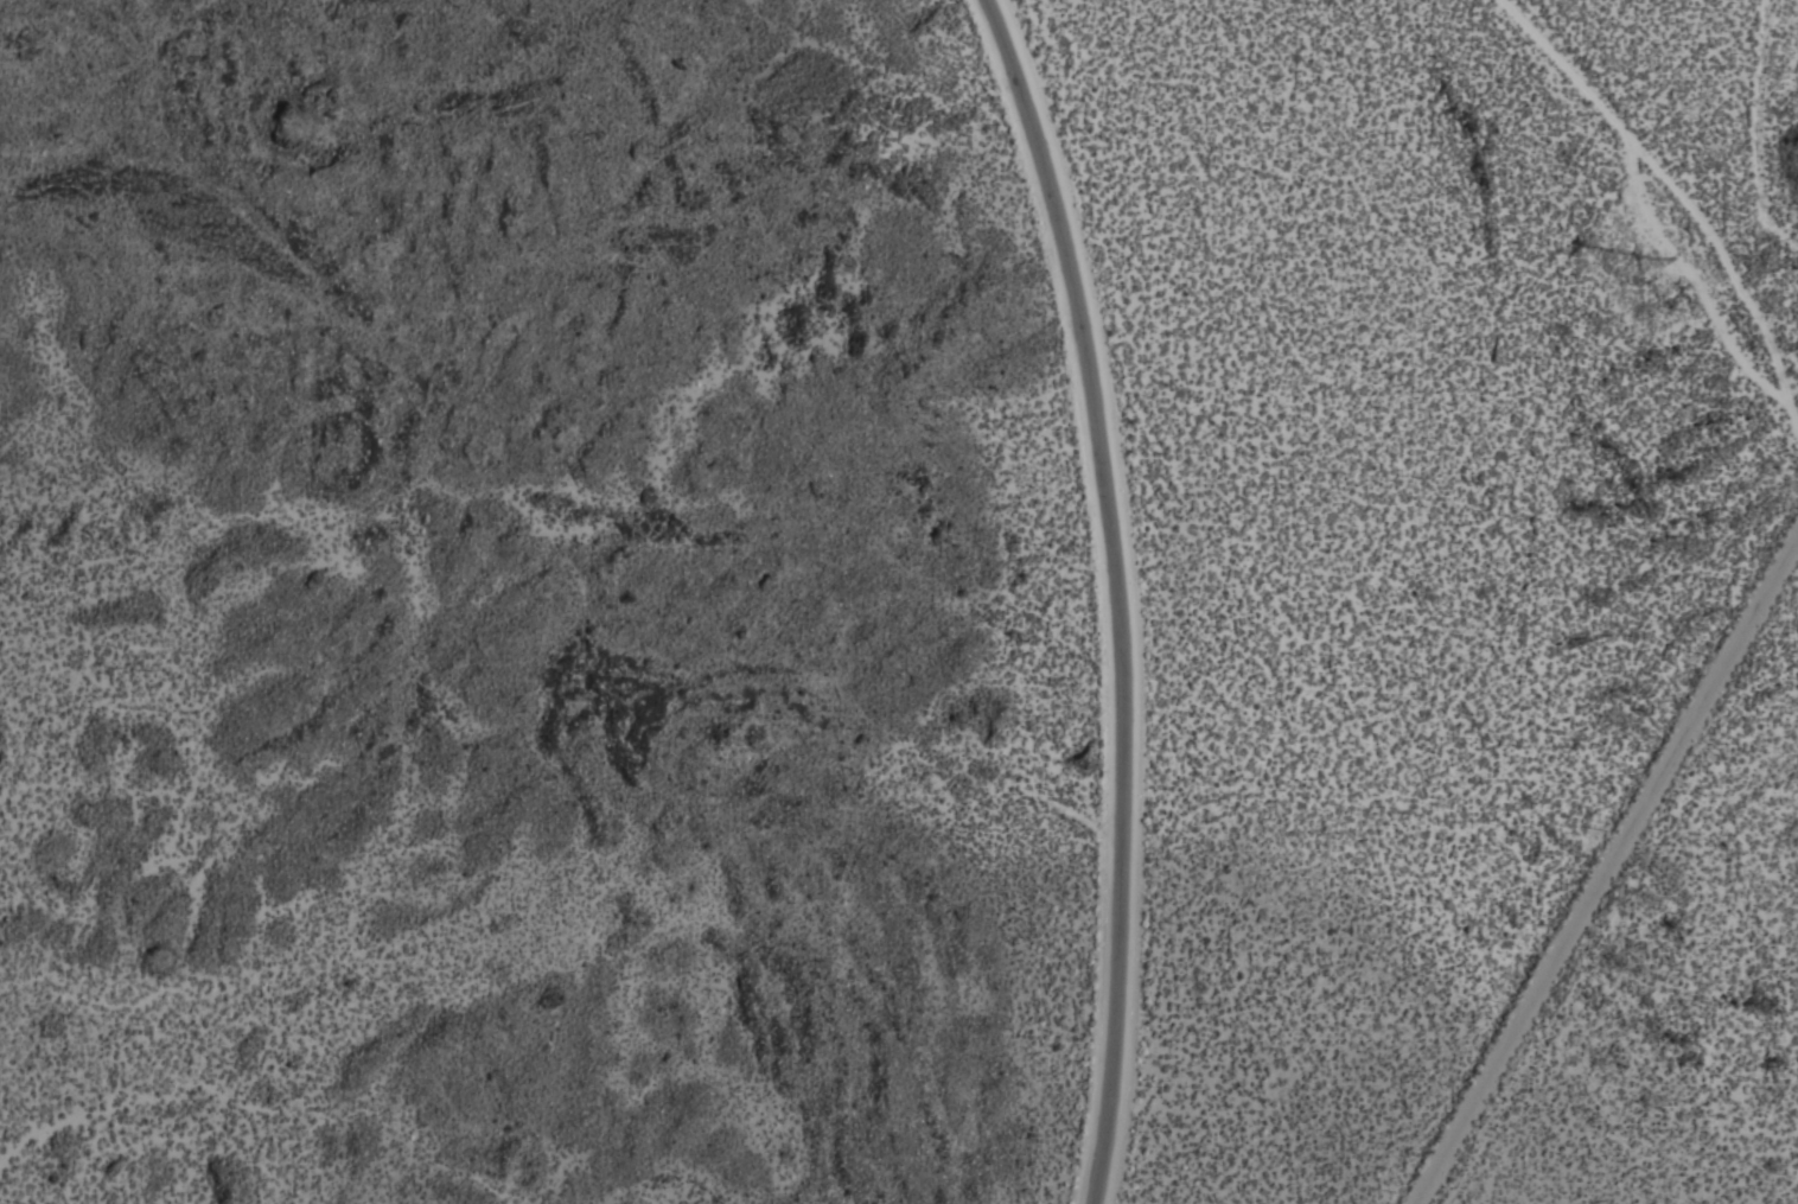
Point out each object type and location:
power tower: (1602, 183)
road: (1646, 208)
road: (1729, 266)
road: (1124, 593)
road: (1609, 869)

